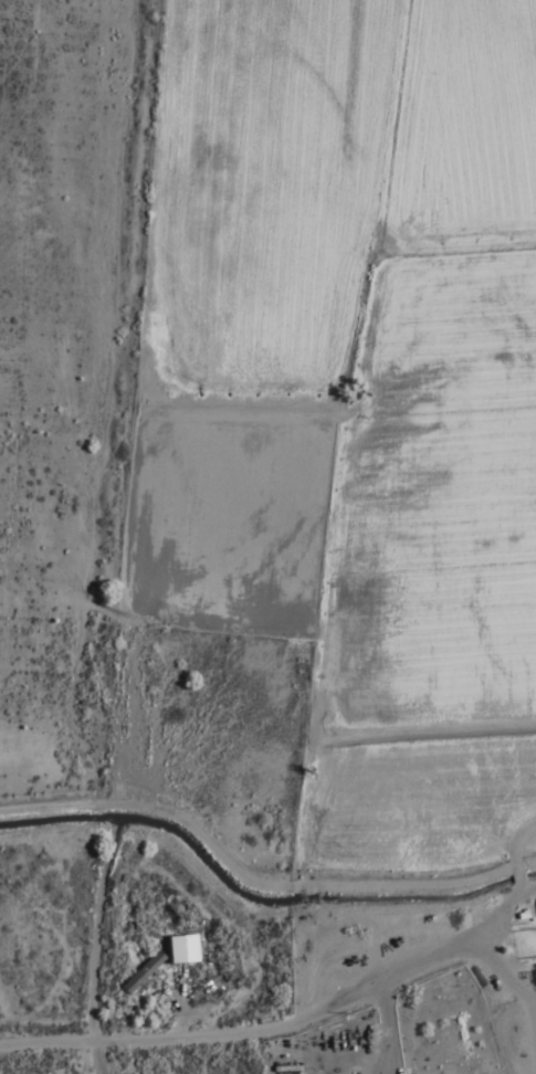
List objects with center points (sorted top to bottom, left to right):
road: (255, 888)
road: (503, 905)
building: (138, 976)
road: (252, 1033)

